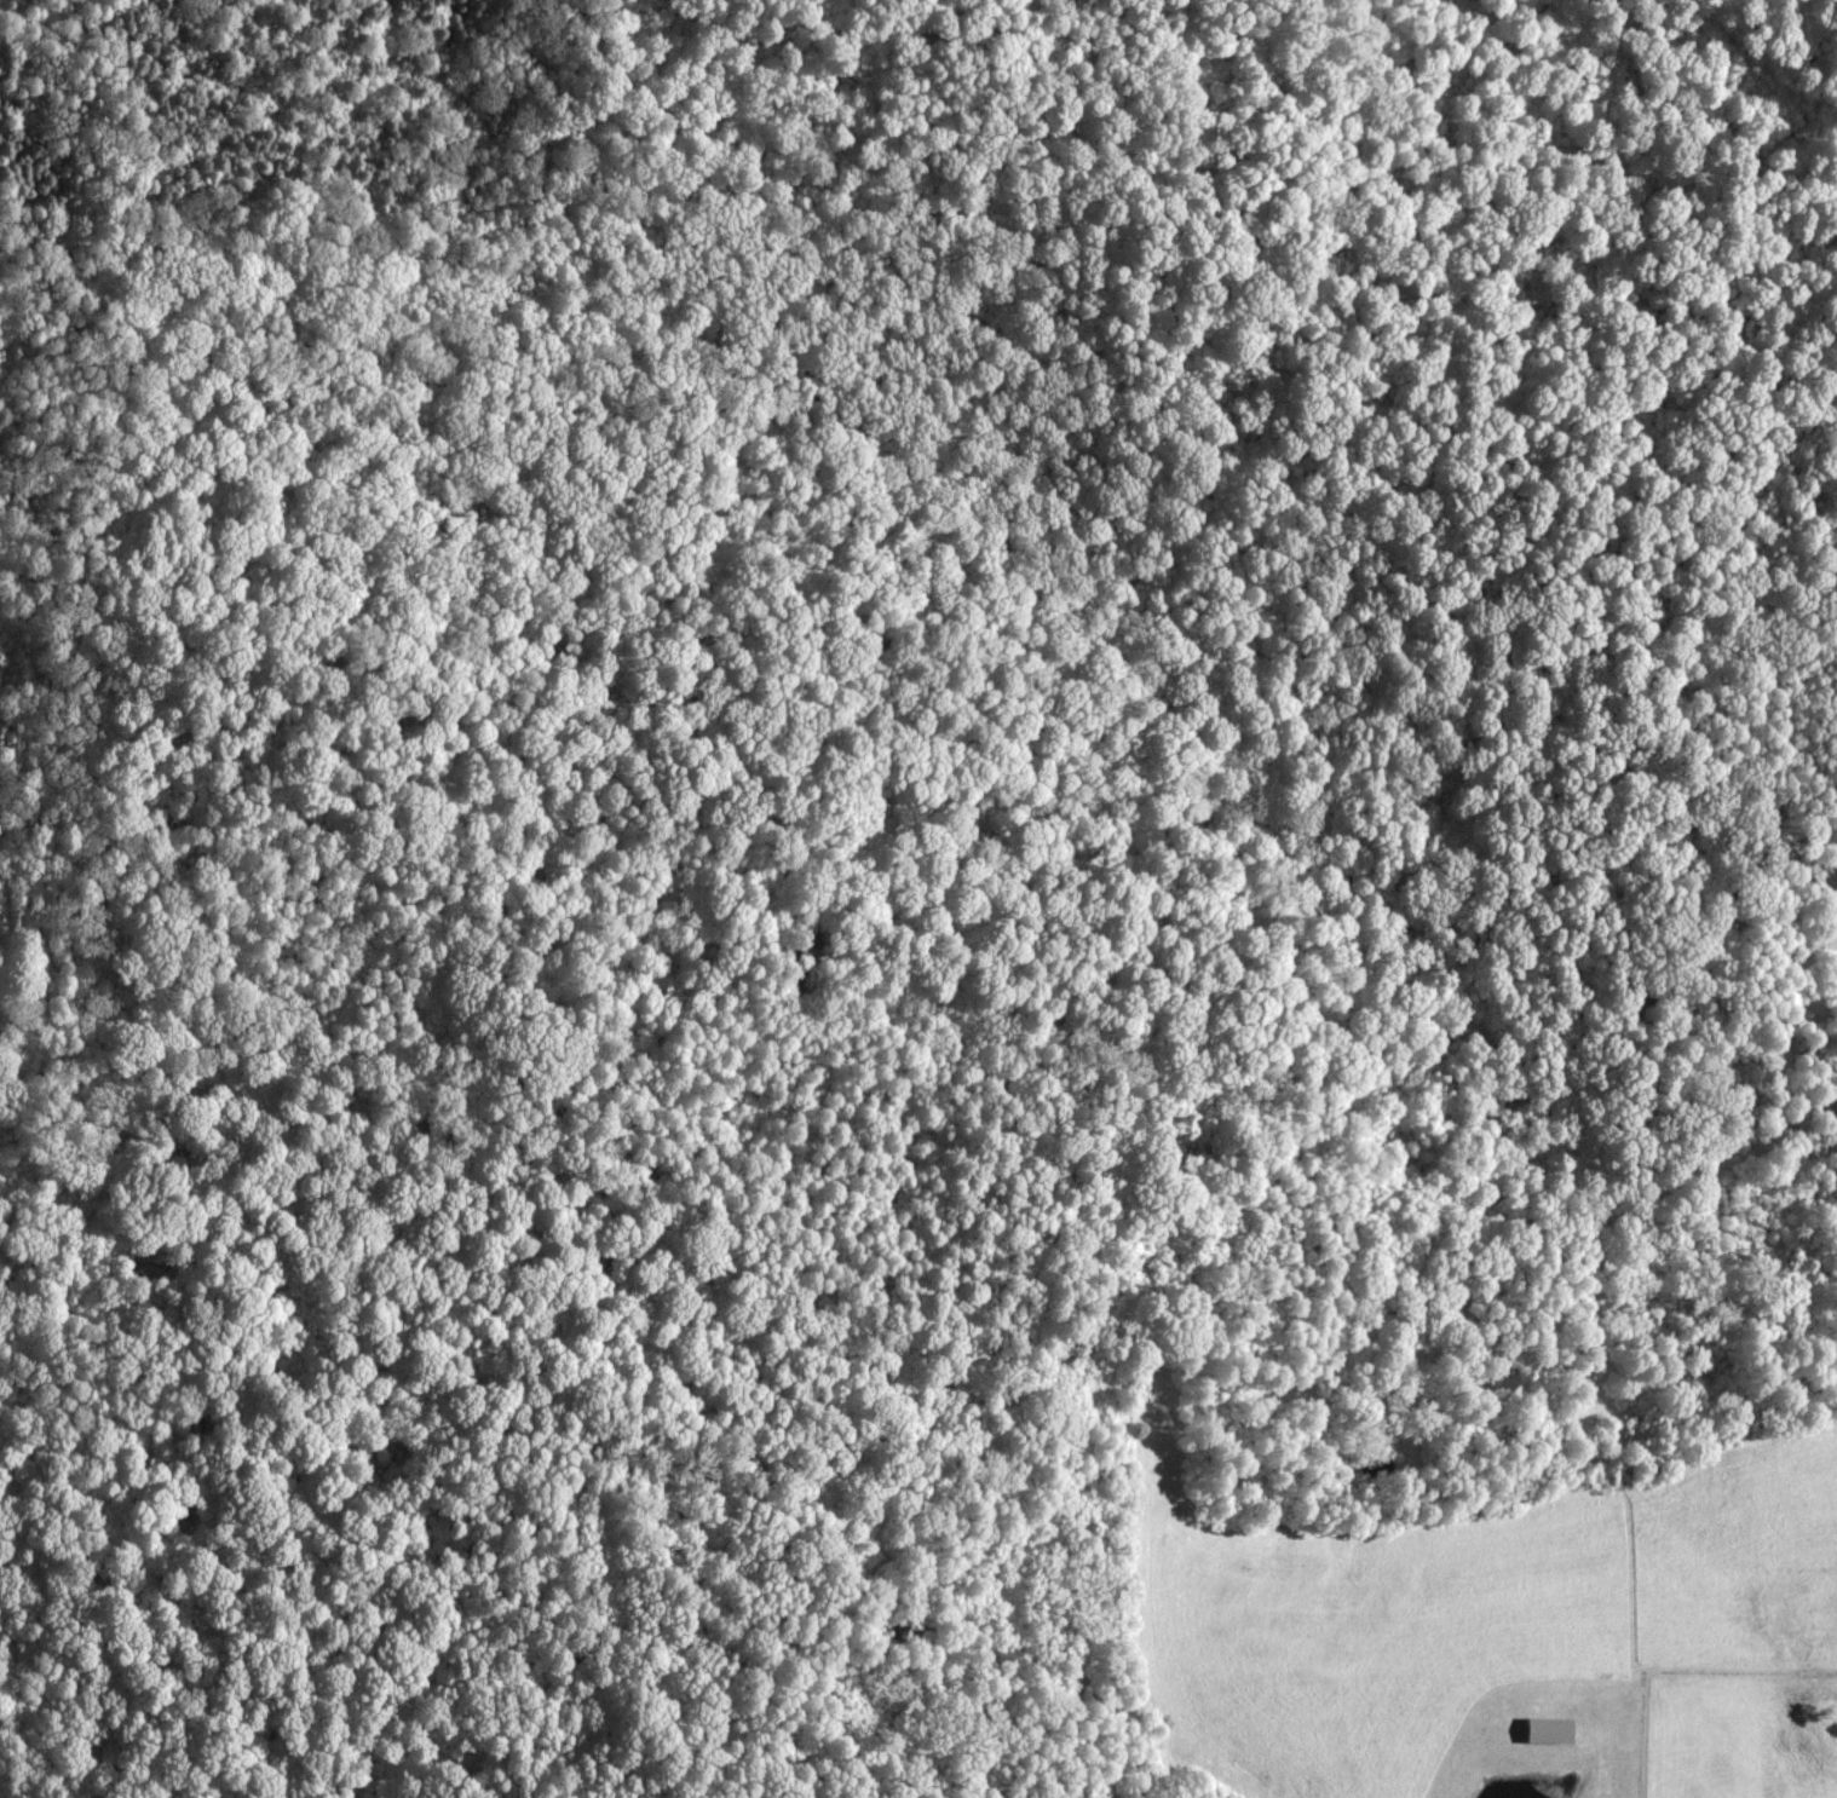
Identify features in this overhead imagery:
building: (1547, 1730)

